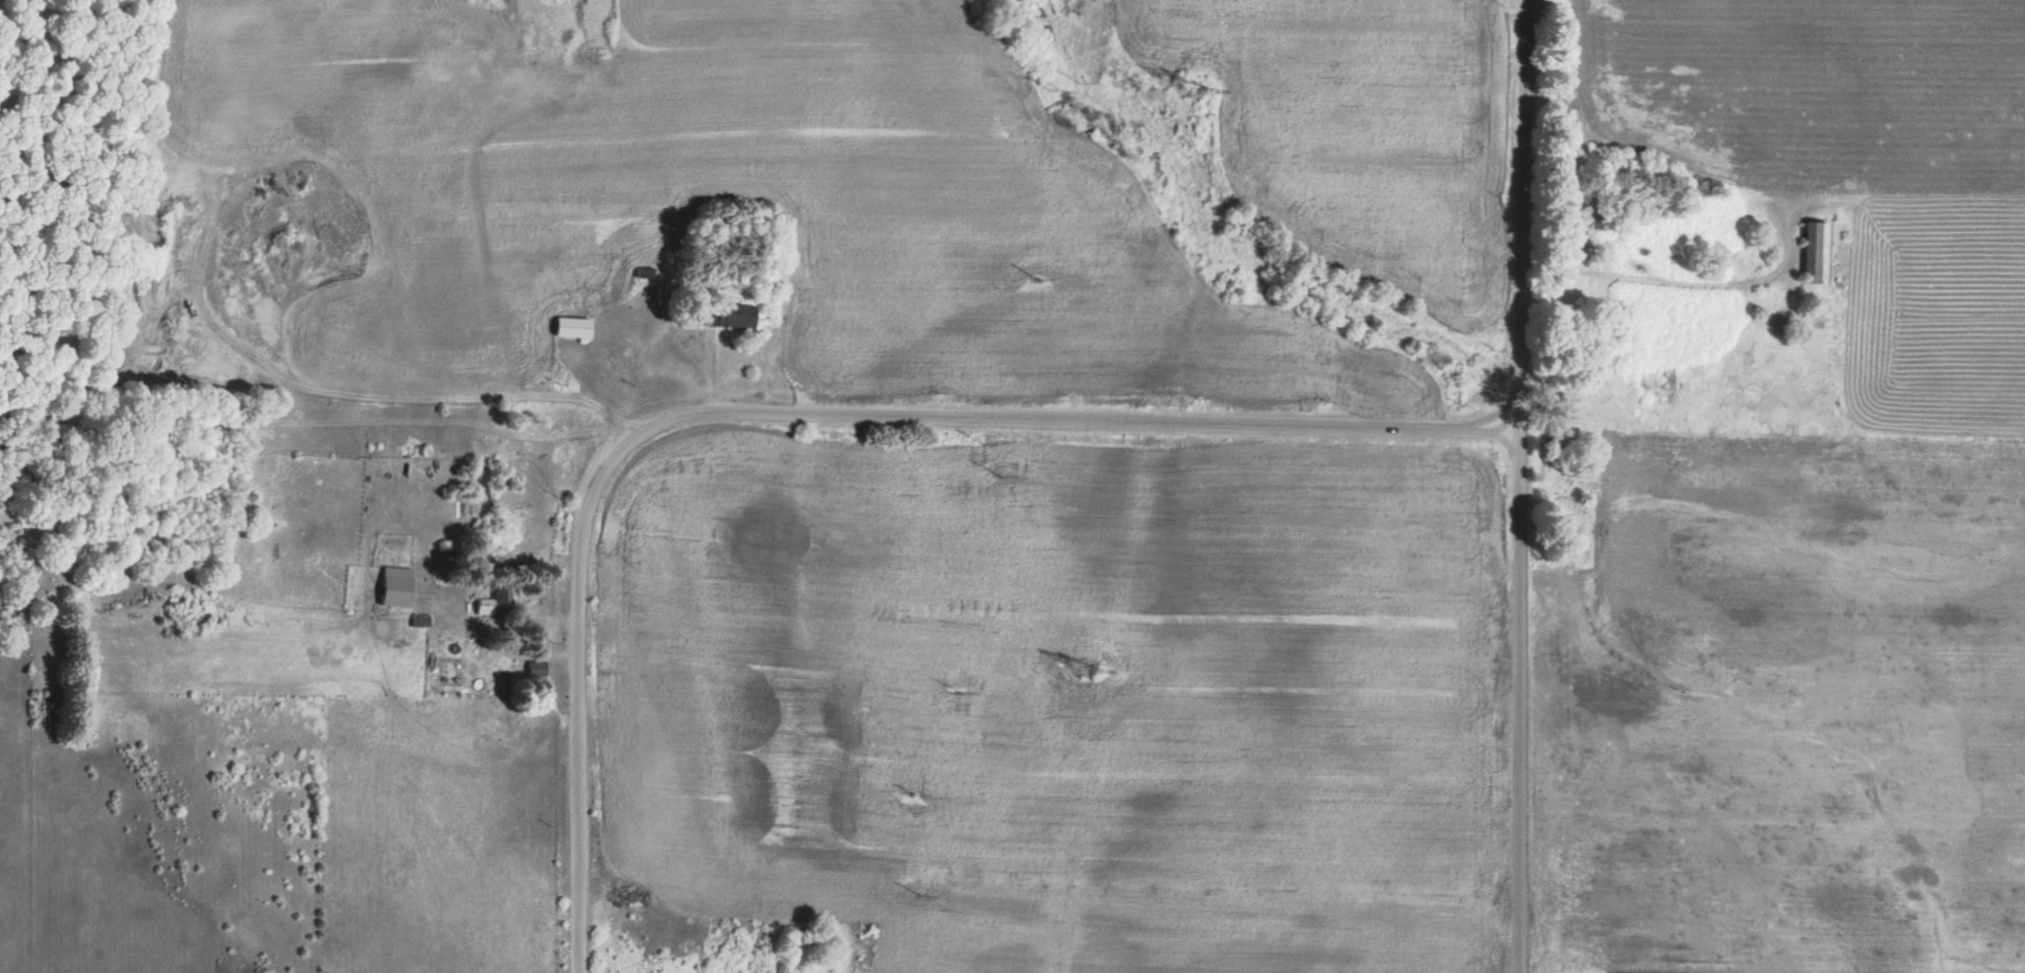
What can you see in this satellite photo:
power tower: (1192, 85)
building: (1817, 254)
building: (735, 316)
building: (574, 328)
road: (795, 414)
road: (1516, 486)
building: (399, 588)
building: (499, 601)
building: (420, 621)
power tower: (1084, 666)

